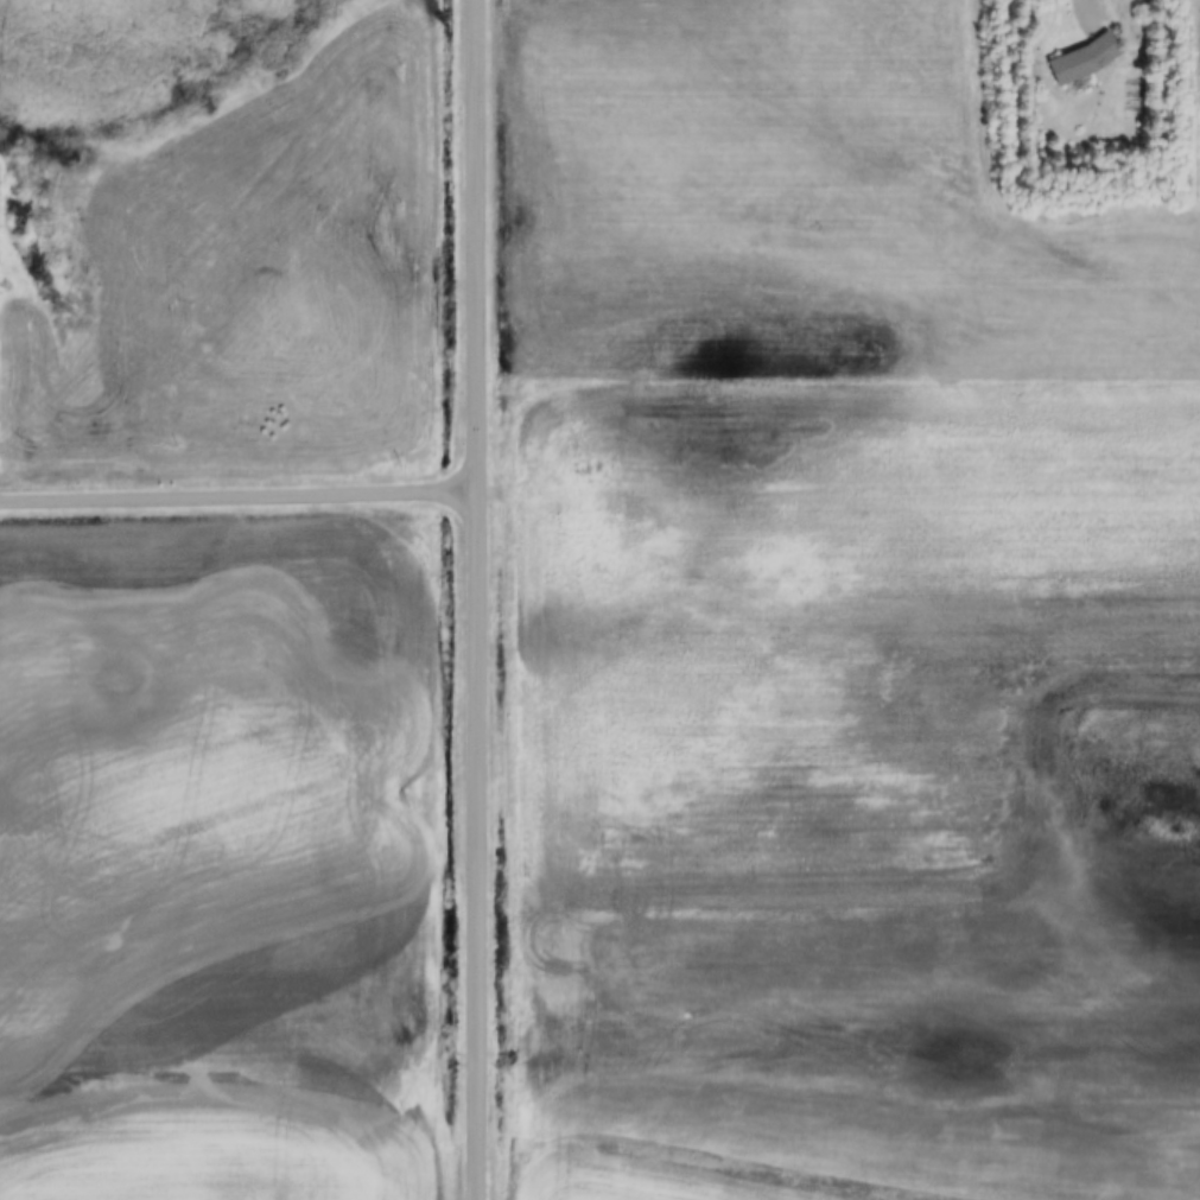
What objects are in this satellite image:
building: (1078, 62)
road: (235, 494)
road: (471, 599)
crop: (858, 791)

